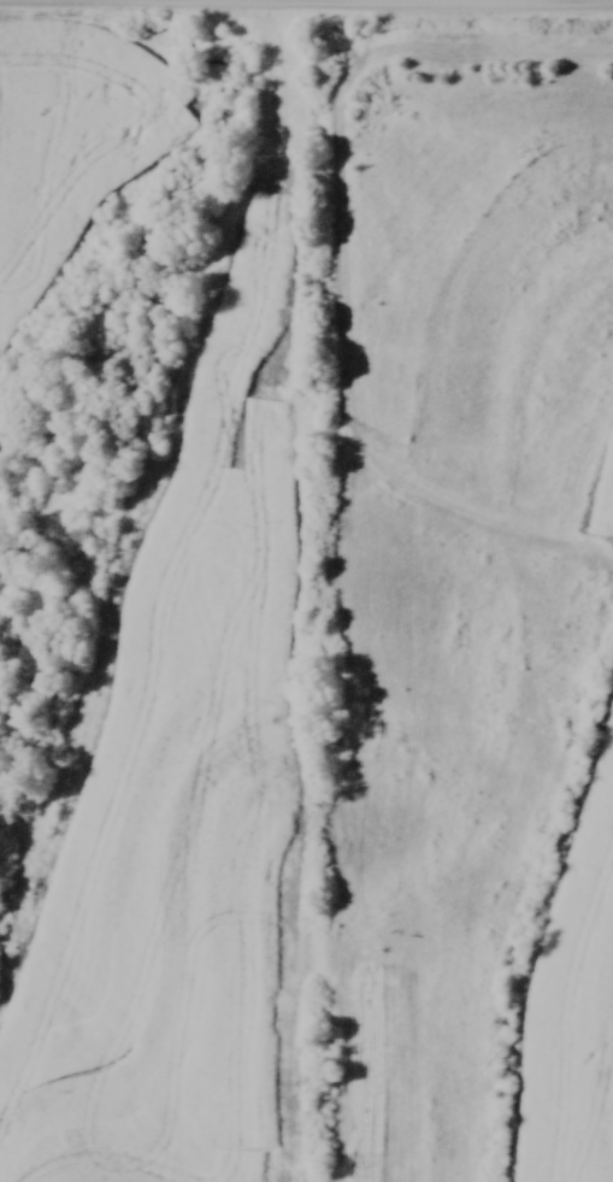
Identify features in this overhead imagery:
road: (306, 7)

